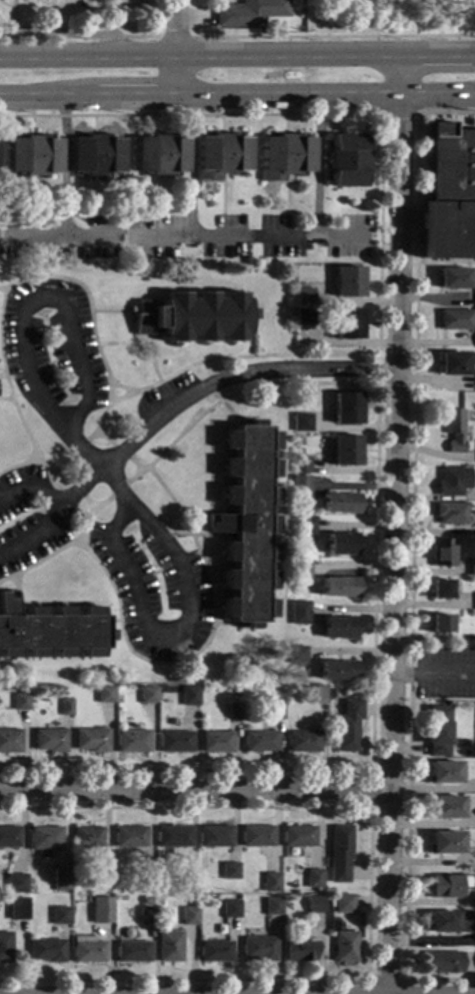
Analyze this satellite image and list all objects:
building: (239, 14)
park: (390, 16)
road: (69, 31)
road: (137, 36)
road: (332, 36)
road: (173, 48)
road: (237, 57)
road: (157, 60)
road: (469, 92)
road: (237, 96)
road: (401, 113)
building: (32, 155)
building: (95, 155)
building: (160, 155)
building: (220, 156)
building: (284, 157)
building: (346, 160)
road: (64, 167)
road: (191, 167)
road: (320, 167)
building: (449, 195)
parking lot: (189, 236)
road: (180, 238)
building: (263, 261)
building: (453, 278)
building: (348, 282)
road: (2, 291)
building: (474, 295)
building: (304, 297)
road: (26, 308)
road: (109, 311)
building: (193, 317)
building: (304, 318)
building: (456, 320)
building: (347, 324)
road: (92, 329)
road: (147, 338)
road: (249, 339)
parking lot: (50, 346)
building: (455, 363)
road: (39, 367)
road: (2, 377)
road: (211, 381)
road: (205, 387)
road: (6, 399)
road: (111, 400)
building: (345, 408)
road: (101, 416)
road: (234, 420)
building: (301, 422)
building: (454, 430)
road: (99, 436)
road: (376, 436)
building: (344, 450)
road: (77, 451)
road: (121, 452)
building: (297, 453)
building: (300, 465)
road: (47, 466)
road: (143, 470)
road: (61, 472)
road: (137, 472)
building: (452, 482)
building: (299, 488)
road: (76, 489)
road: (117, 490)
building: (340, 503)
road: (95, 507)
road: (204, 512)
road: (55, 513)
building: (451, 513)
parking lot: (27, 518)
road: (86, 524)
building: (246, 524)
road: (394, 525)
building: (305, 526)
road: (195, 535)
building: (341, 544)
road: (410, 553)
building: (442, 553)
road: (4, 567)
building: (472, 567)
road: (205, 570)
building: (300, 570)
road: (155, 572)
road: (197, 581)
building: (339, 587)
parking lot: (154, 589)
building: (441, 589)
road: (15, 594)
building: (299, 613)
road: (225, 624)
building: (440, 624)
road: (187, 626)
building: (339, 628)
building: (49, 631)
building: (296, 655)
building: (337, 671)
road: (434, 672)
parking lot: (445, 672)
building: (104, 694)
building: (319, 694)
building: (147, 695)
building: (189, 696)
building: (19, 702)
building: (65, 707)
building: (235, 711)
building: (277, 711)
building: (347, 725)
building: (437, 731)
building: (49, 740)
building: (90, 740)
building: (9, 741)
building: (131, 741)
building: (215, 741)
building: (303, 741)
building: (175, 742)
building: (260, 742)
road: (371, 771)
building: (443, 773)
road: (195, 788)
building: (445, 808)
building: (173, 836)
building: (256, 836)
building: (9, 837)
building: (130, 837)
building: (215, 837)
building: (299, 837)
building: (87, 839)
building: (44, 840)
building: (444, 842)
building: (340, 854)
building: (229, 871)
building: (145, 879)
building: (314, 879)
building: (60, 880)
building: (100, 881)
building: (271, 882)
building: (16, 883)
building: (186, 884)
building: (444, 887)
road: (369, 892)
building: (474, 899)
building: (146, 901)
building: (343, 903)
building: (315, 905)
building: (272, 907)
building: (17, 908)
building: (230, 909)
building: (100, 911)
building: (60, 916)
building: (146, 916)
building: (189, 917)
building: (451, 922)
building: (168, 947)
building: (344, 947)
building: (5, 948)
building: (258, 949)
building: (46, 950)
building: (87, 950)
building: (300, 951)
building: (132, 952)
building: (214, 952)
building: (443, 962)
road: (385, 980)
road: (164, 987)
road: (201, 987)

